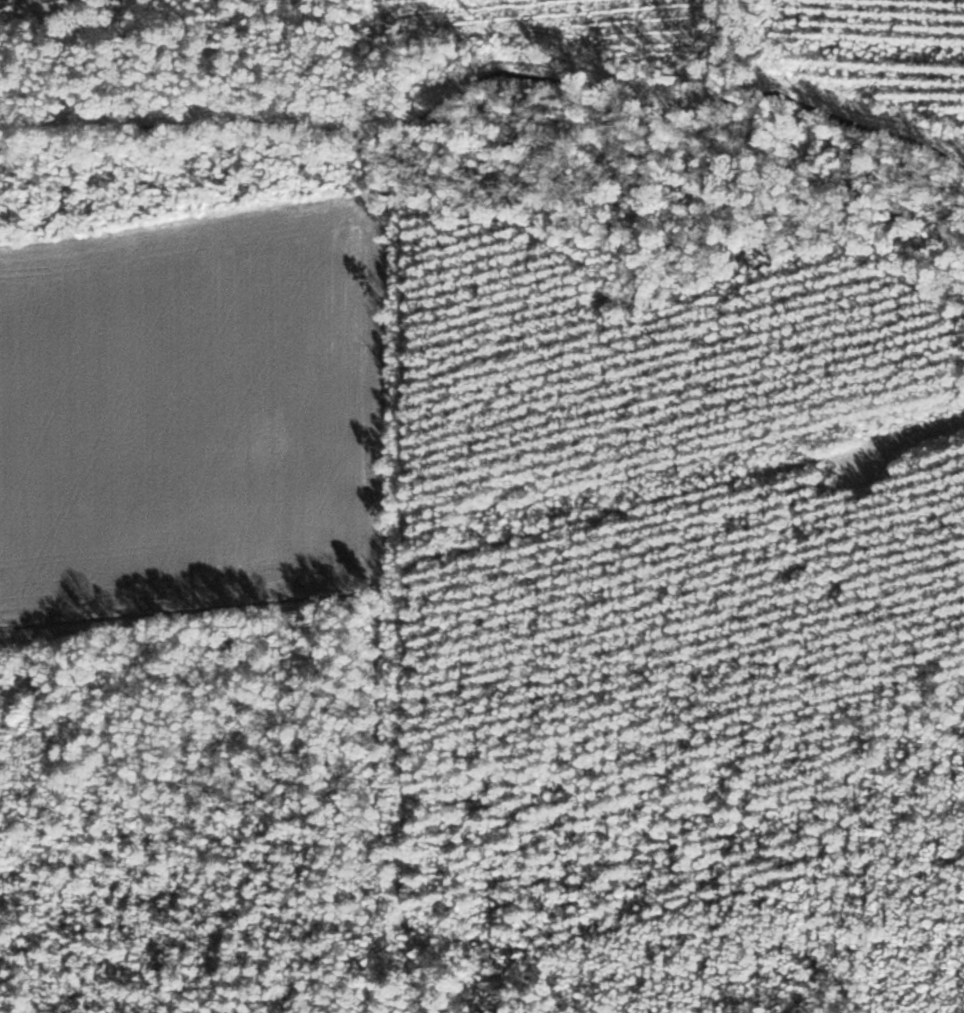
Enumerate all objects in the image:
road: (948, 417)

